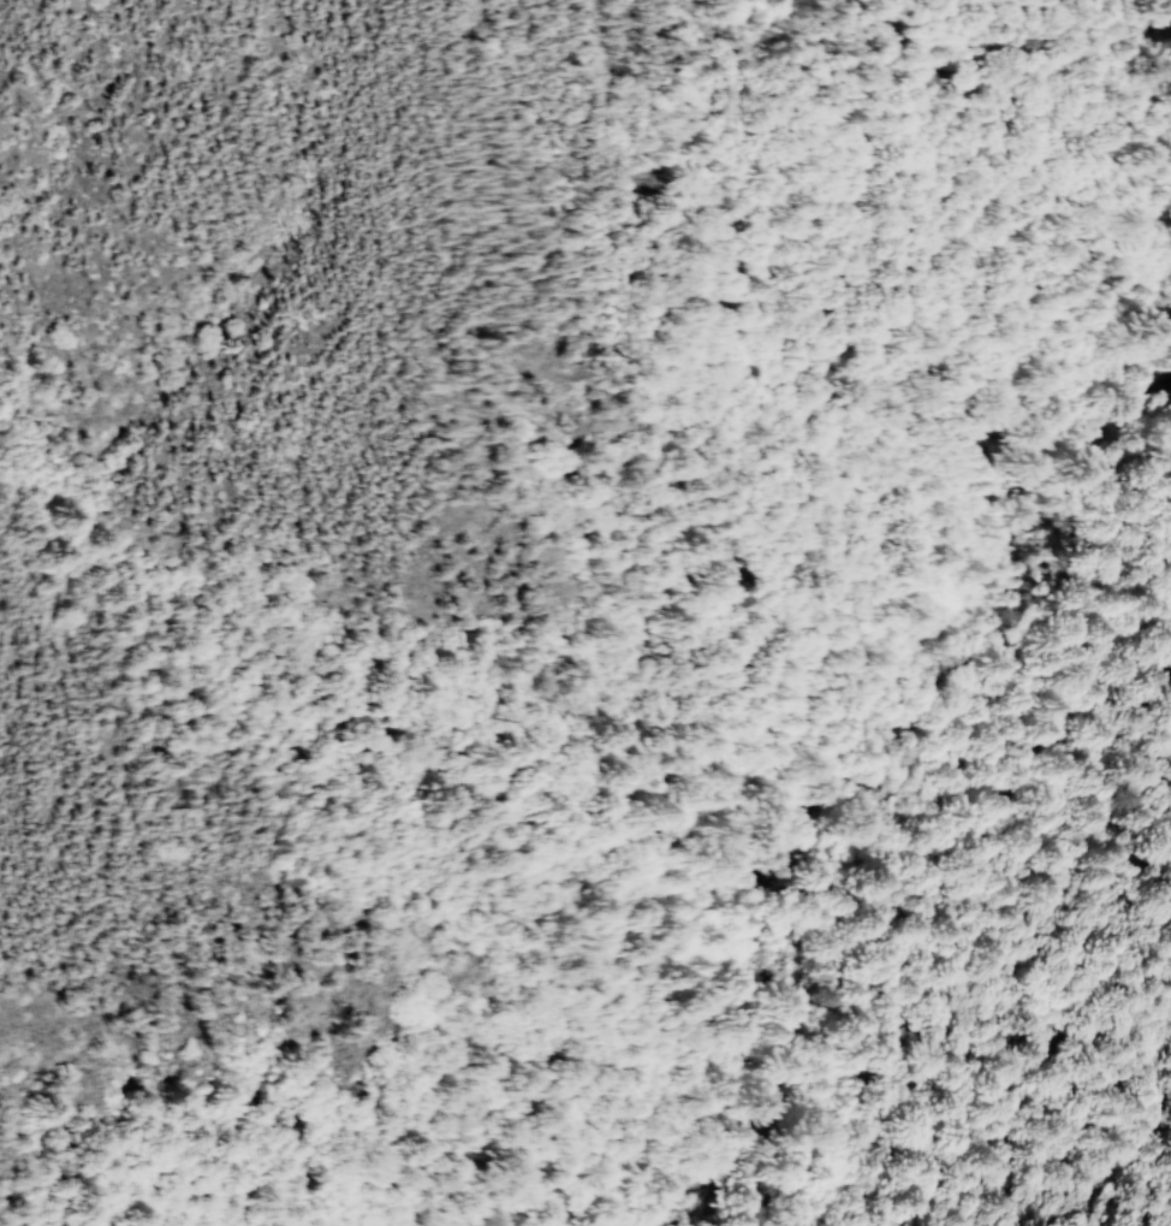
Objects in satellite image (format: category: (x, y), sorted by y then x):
road: (744, 967)

